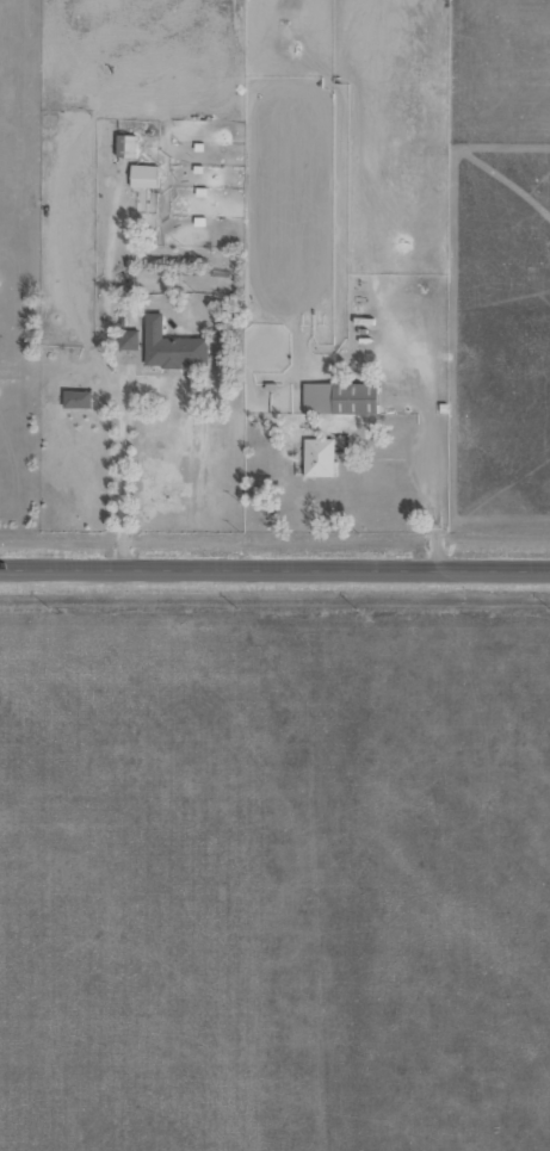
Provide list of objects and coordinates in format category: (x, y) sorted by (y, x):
building: (125, 146)
building: (143, 175)
building: (128, 339)
building: (171, 346)
building: (339, 397)
building: (76, 398)
building: (319, 457)
road: (274, 568)

